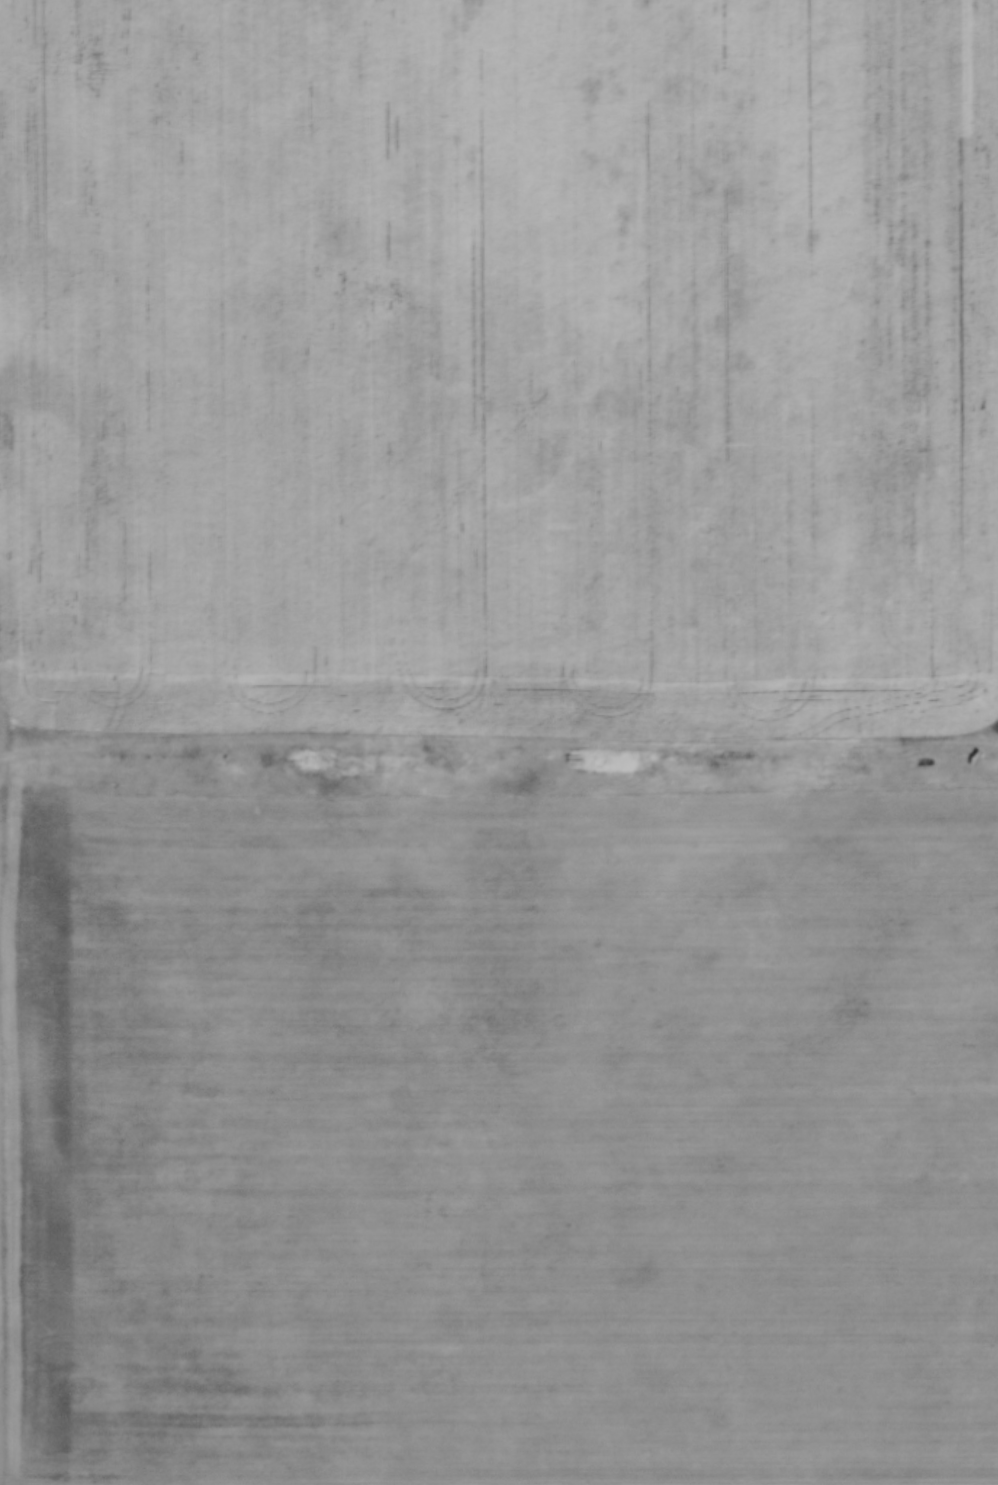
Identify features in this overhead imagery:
road: (499, 765)
crop: (499, 1130)

